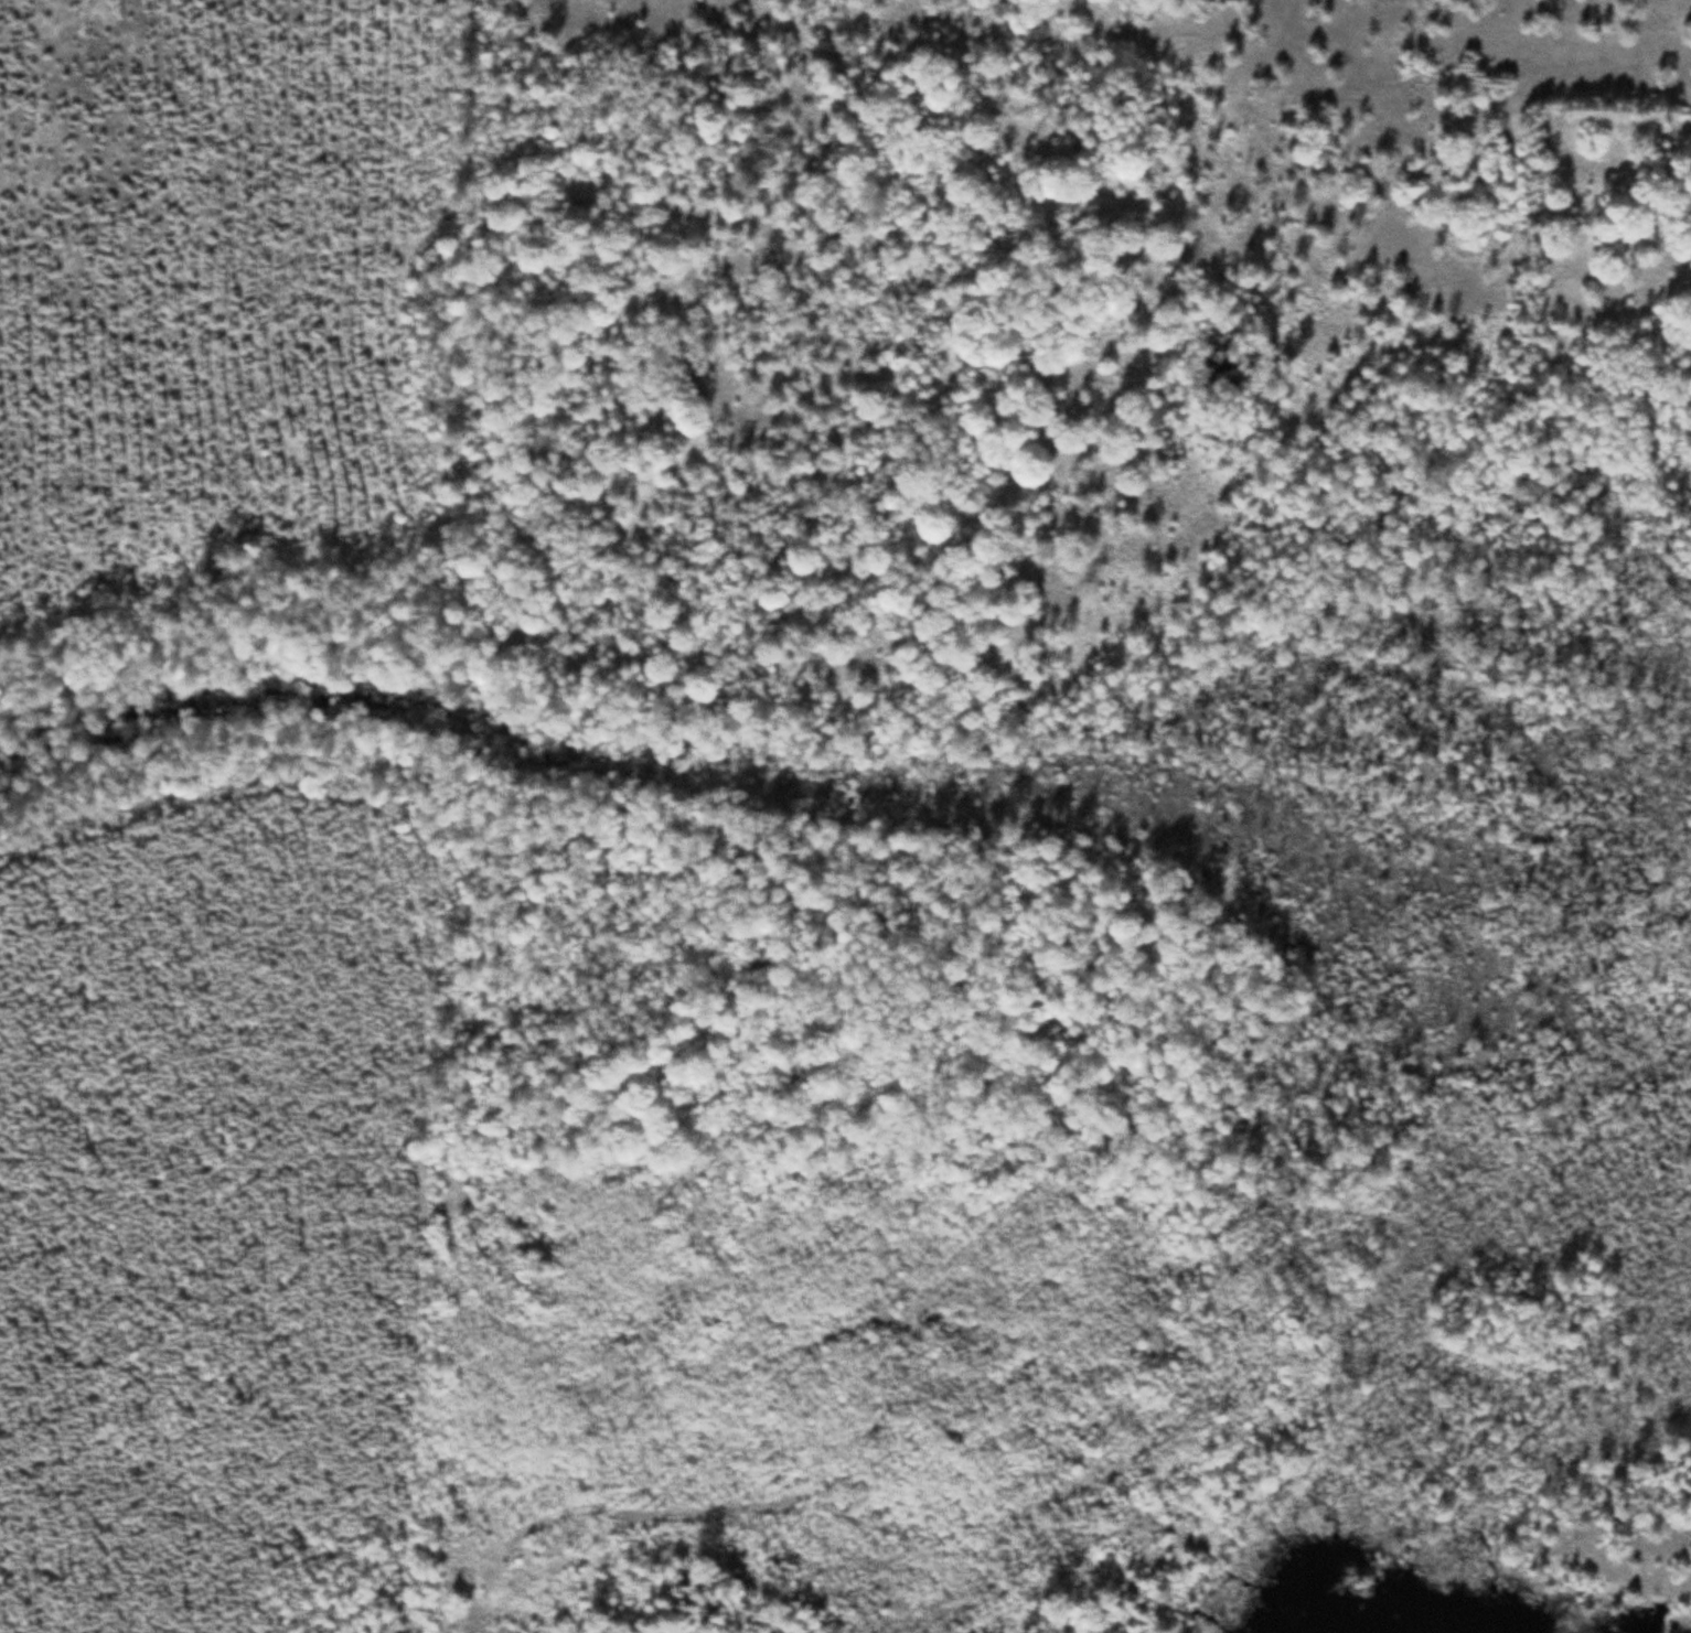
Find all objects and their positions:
road: (462, 499)

